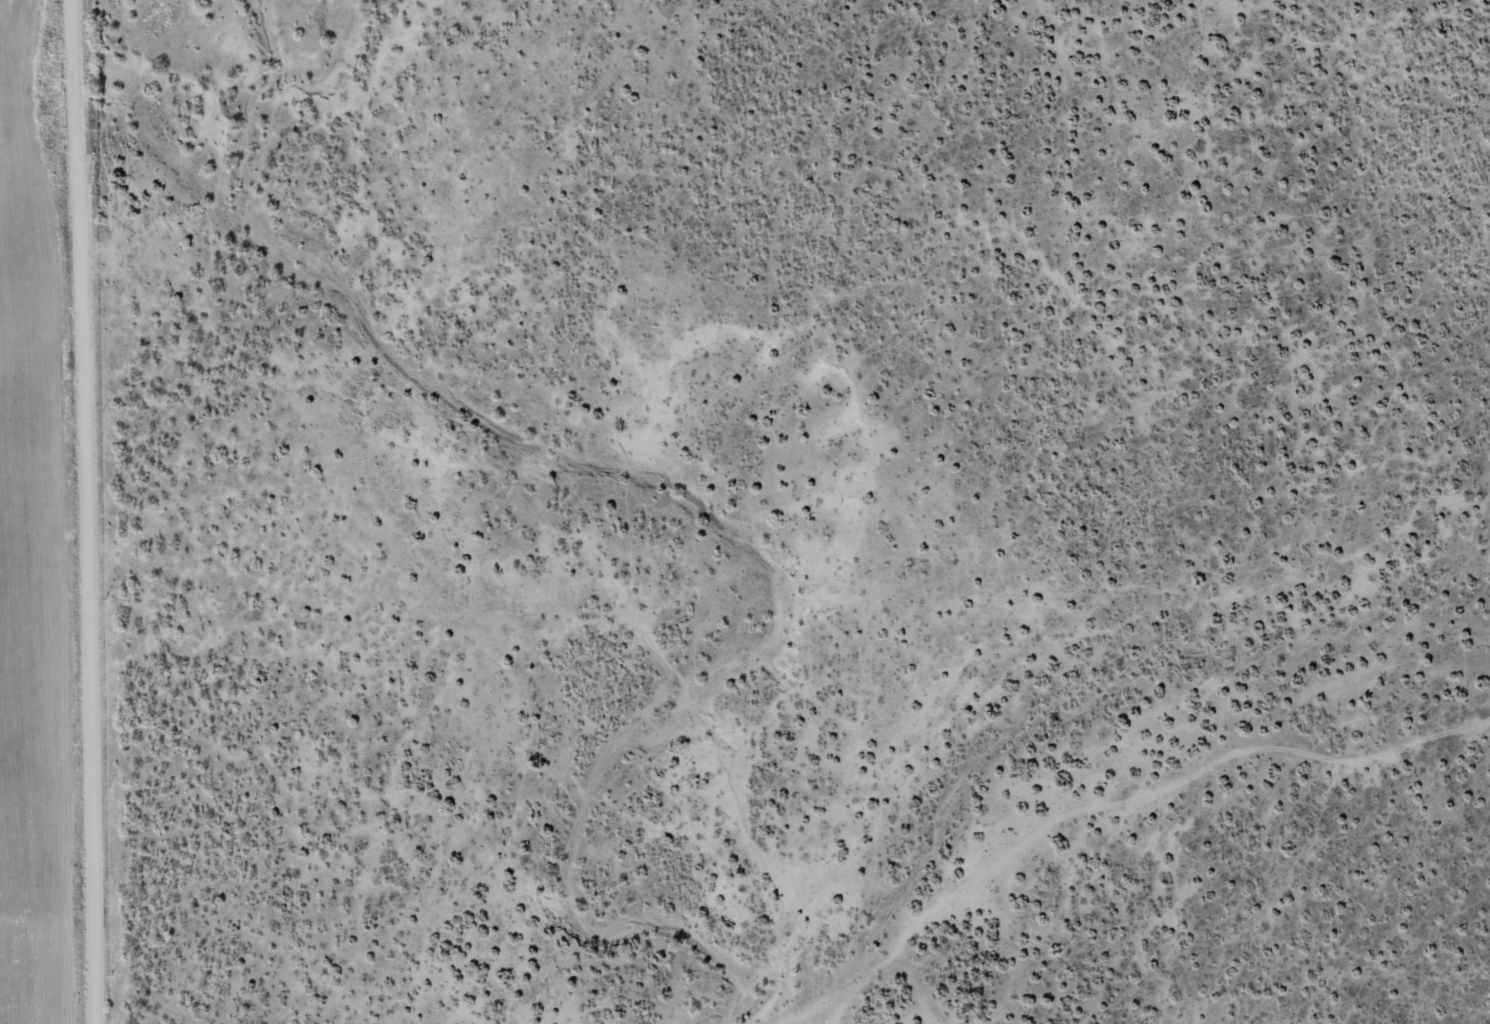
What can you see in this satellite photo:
road: (87, 511)

